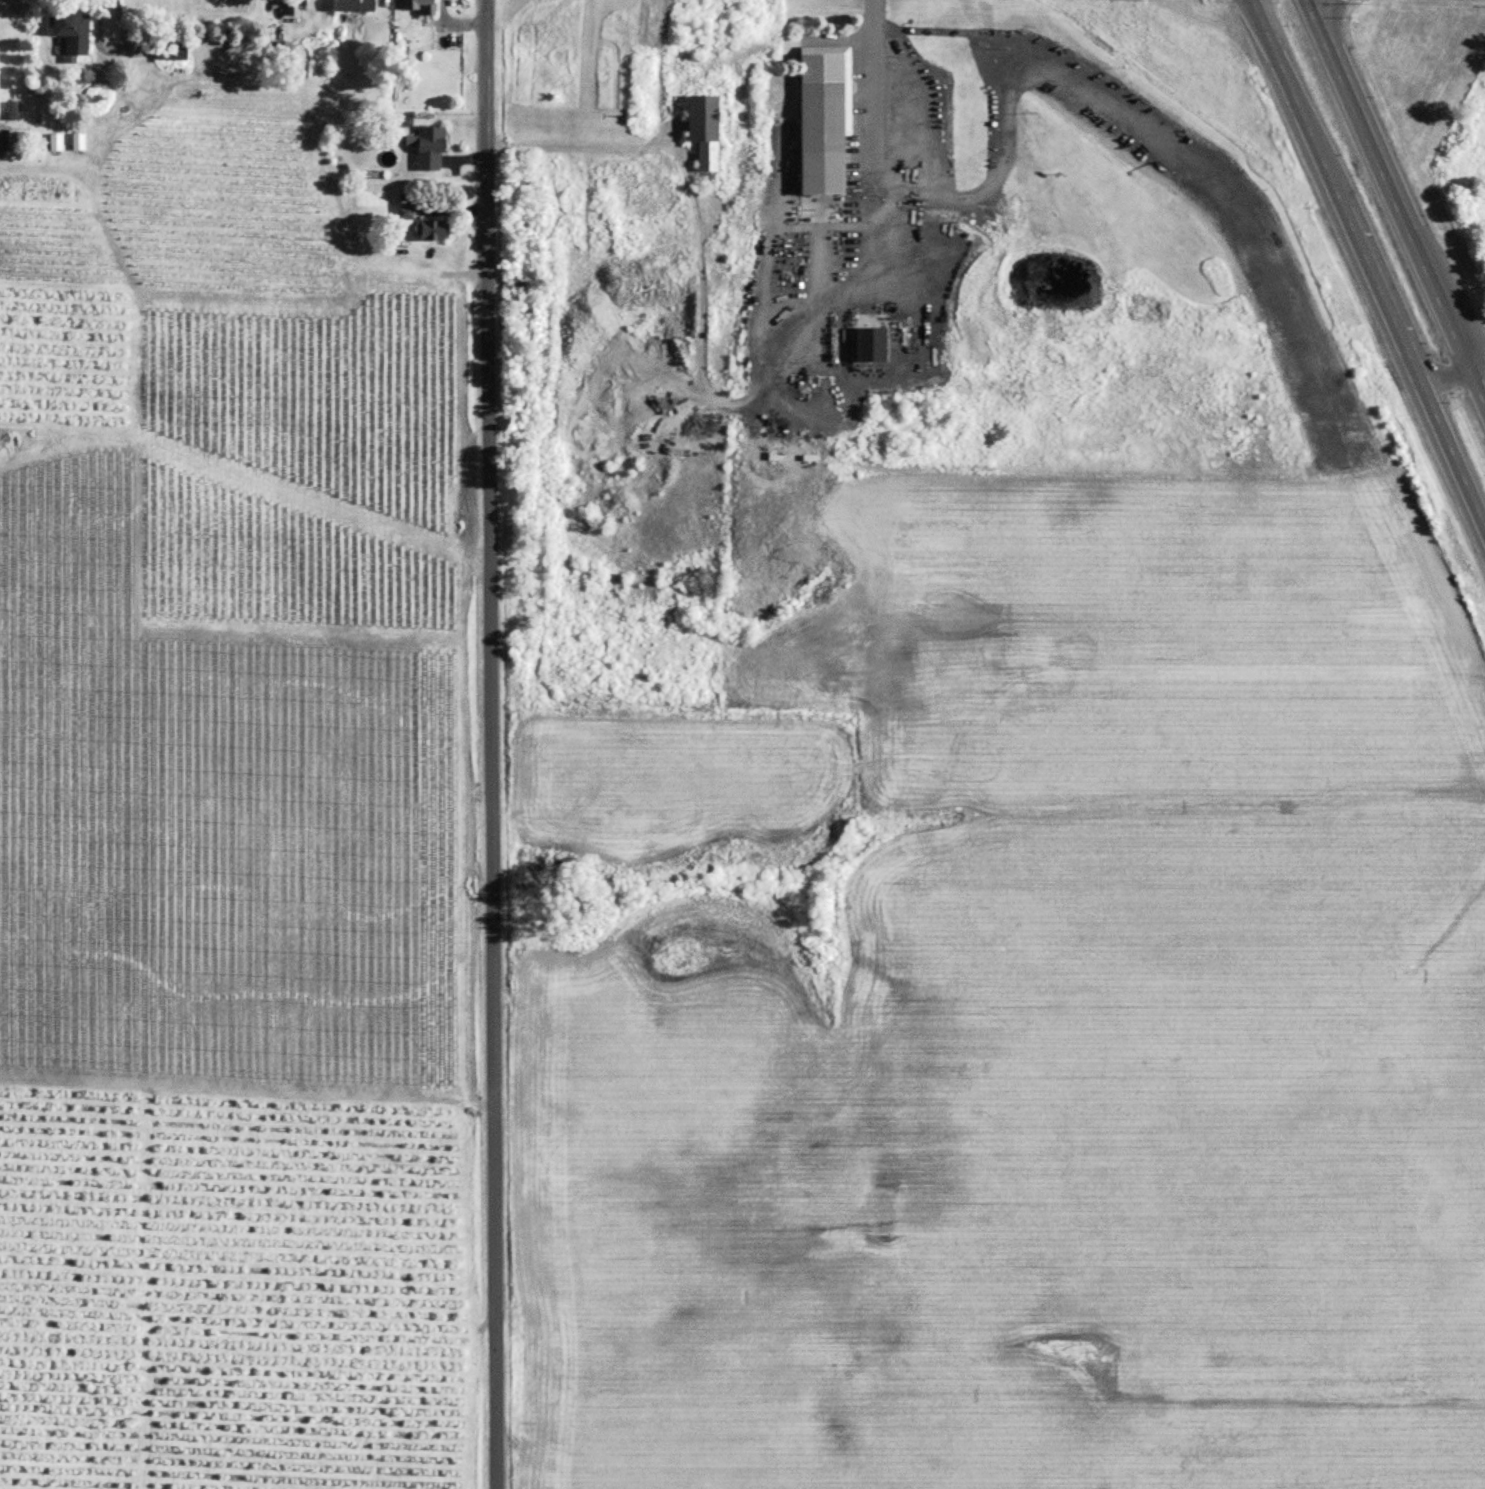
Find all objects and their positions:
building: (355, 5)
building: (298, 6)
building: (421, 6)
building: (73, 33)
road: (109, 43)
building: (173, 51)
road: (874, 95)
building: (827, 120)
building: (707, 130)
building: (79, 142)
building: (56, 143)
building: (431, 147)
road: (1330, 177)
road: (1385, 183)
building: (658, 204)
building: (405, 217)
building: (434, 230)
road: (701, 322)
building: (872, 344)
road: (1438, 373)
road: (1475, 387)
road: (1447, 440)
road: (484, 744)

